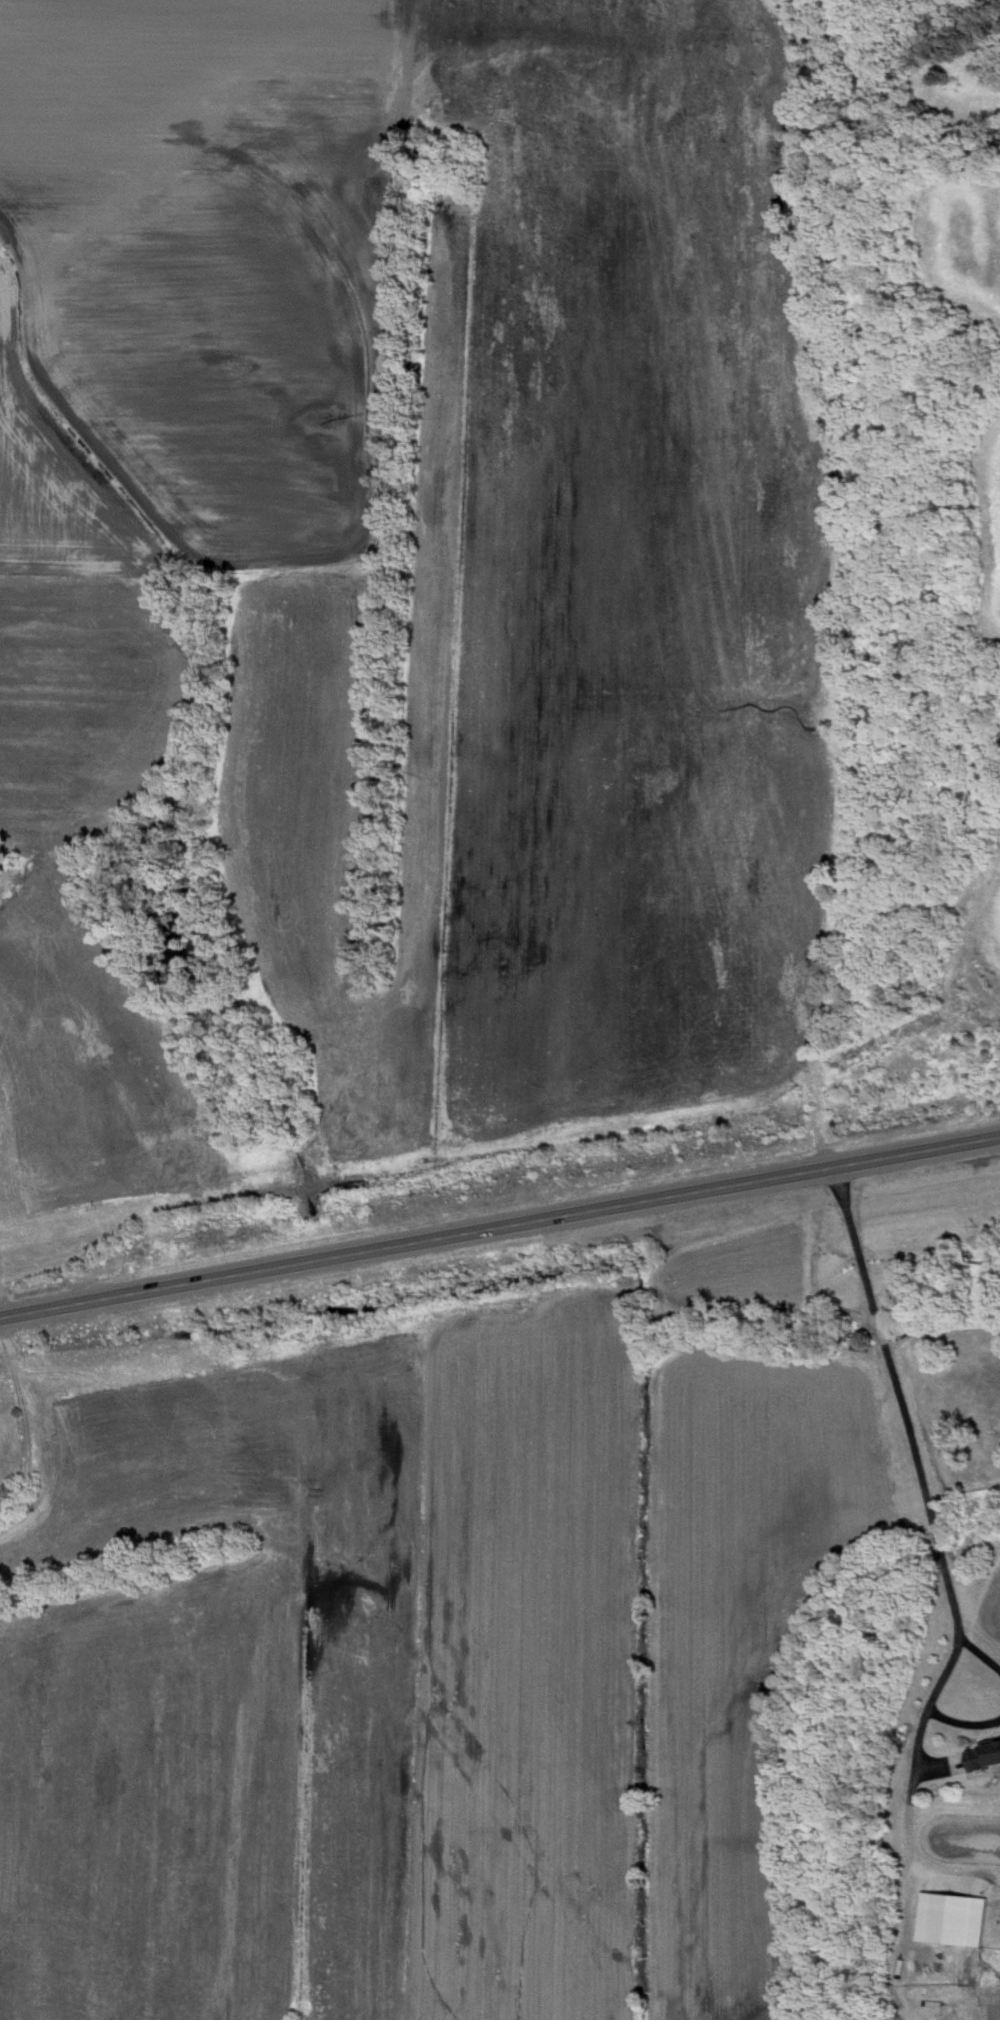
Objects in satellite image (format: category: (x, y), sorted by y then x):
road: (499, 1227)
road: (908, 1441)
road: (981, 1655)
road: (964, 1720)
building: (984, 1757)
road: (908, 1815)
building: (951, 1920)

